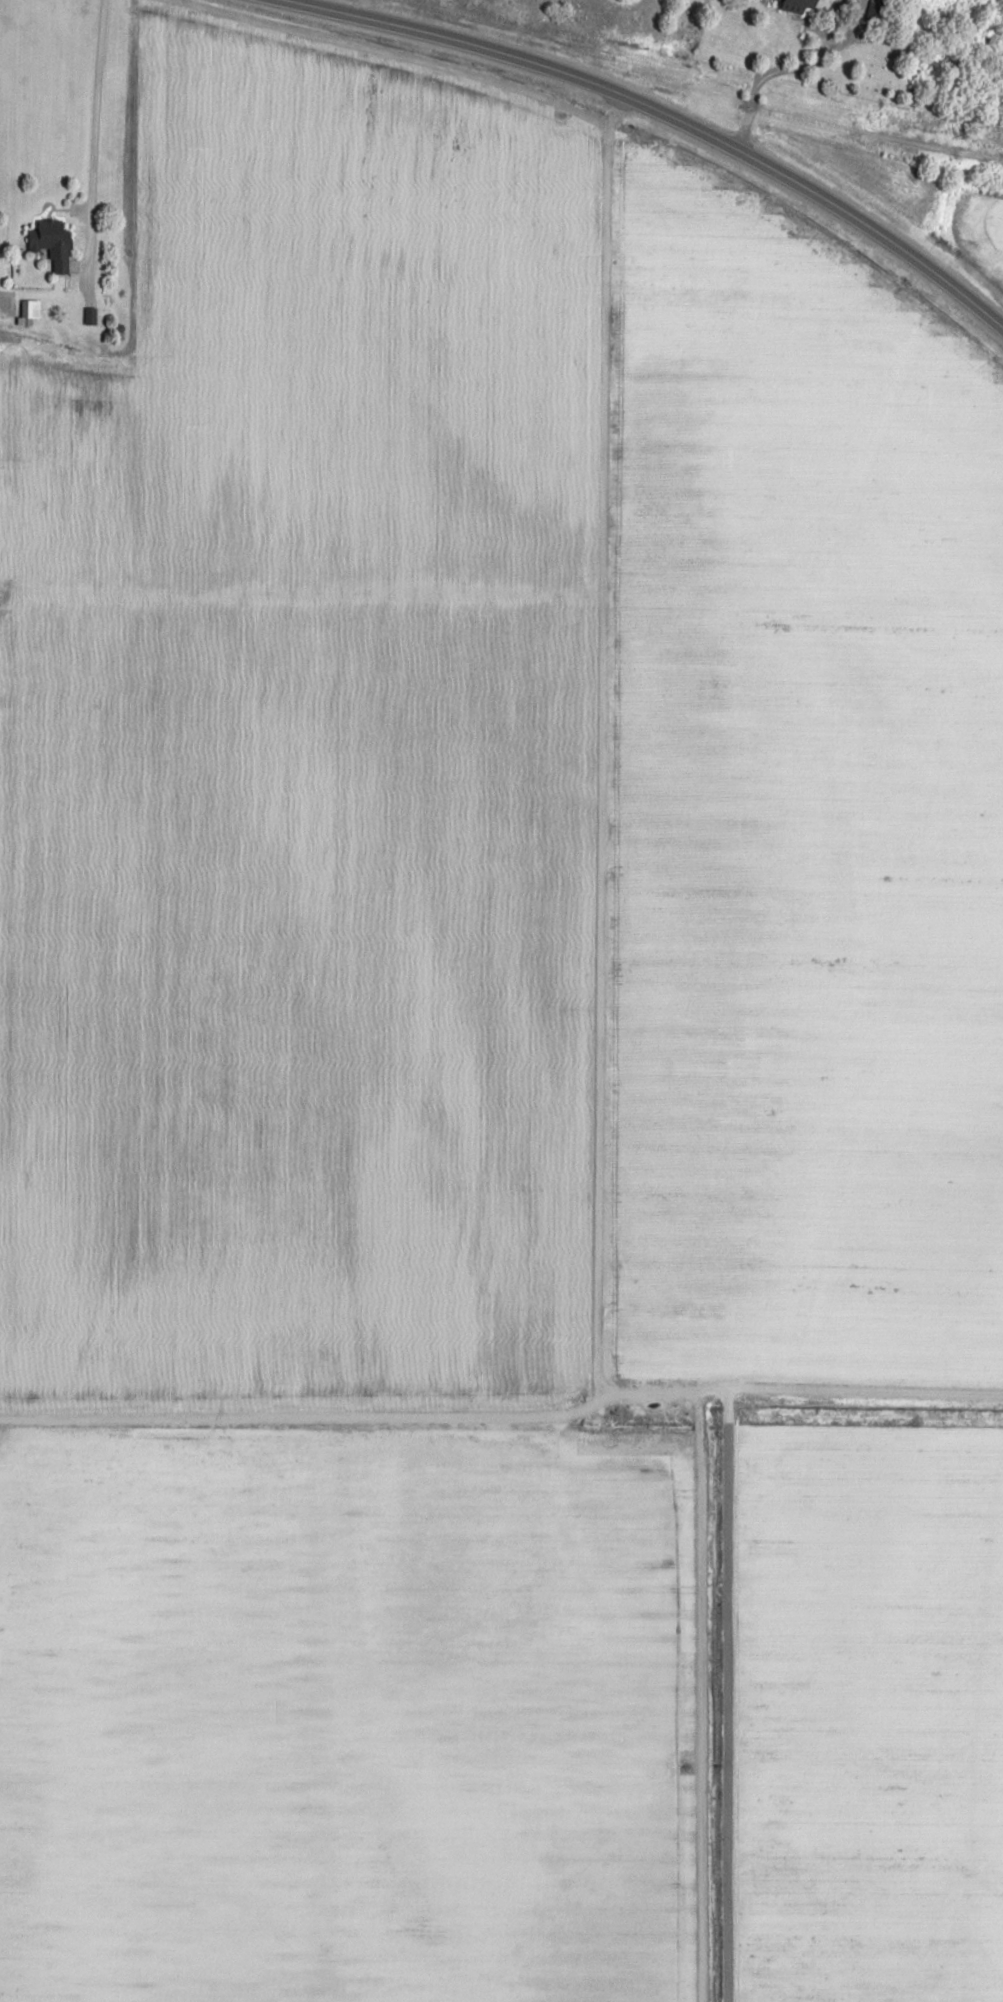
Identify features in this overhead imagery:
building: (795, 5)
road: (665, 113)
building: (51, 244)
building: (27, 312)
building: (89, 318)

